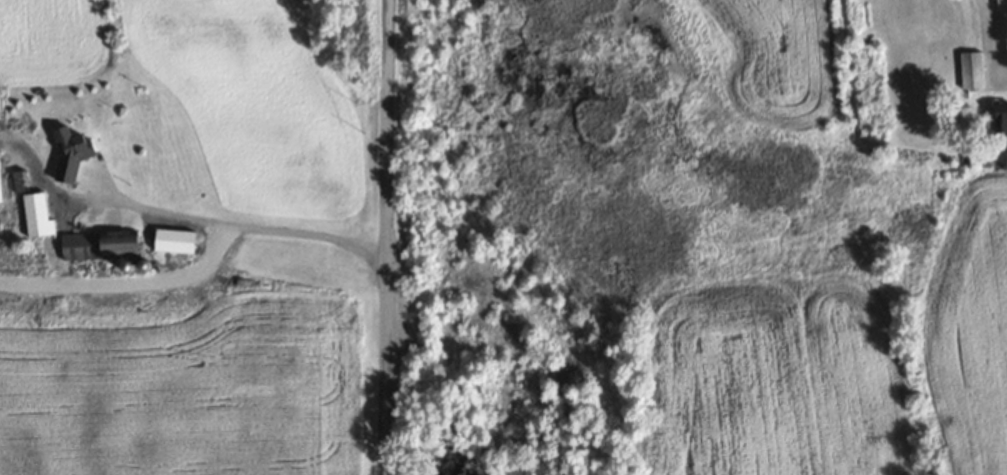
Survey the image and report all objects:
building: (969, 70)
building: (994, 118)
building: (67, 154)
road: (104, 199)
building: (35, 214)
road: (312, 233)
road: (386, 237)
building: (96, 244)
road: (125, 281)

